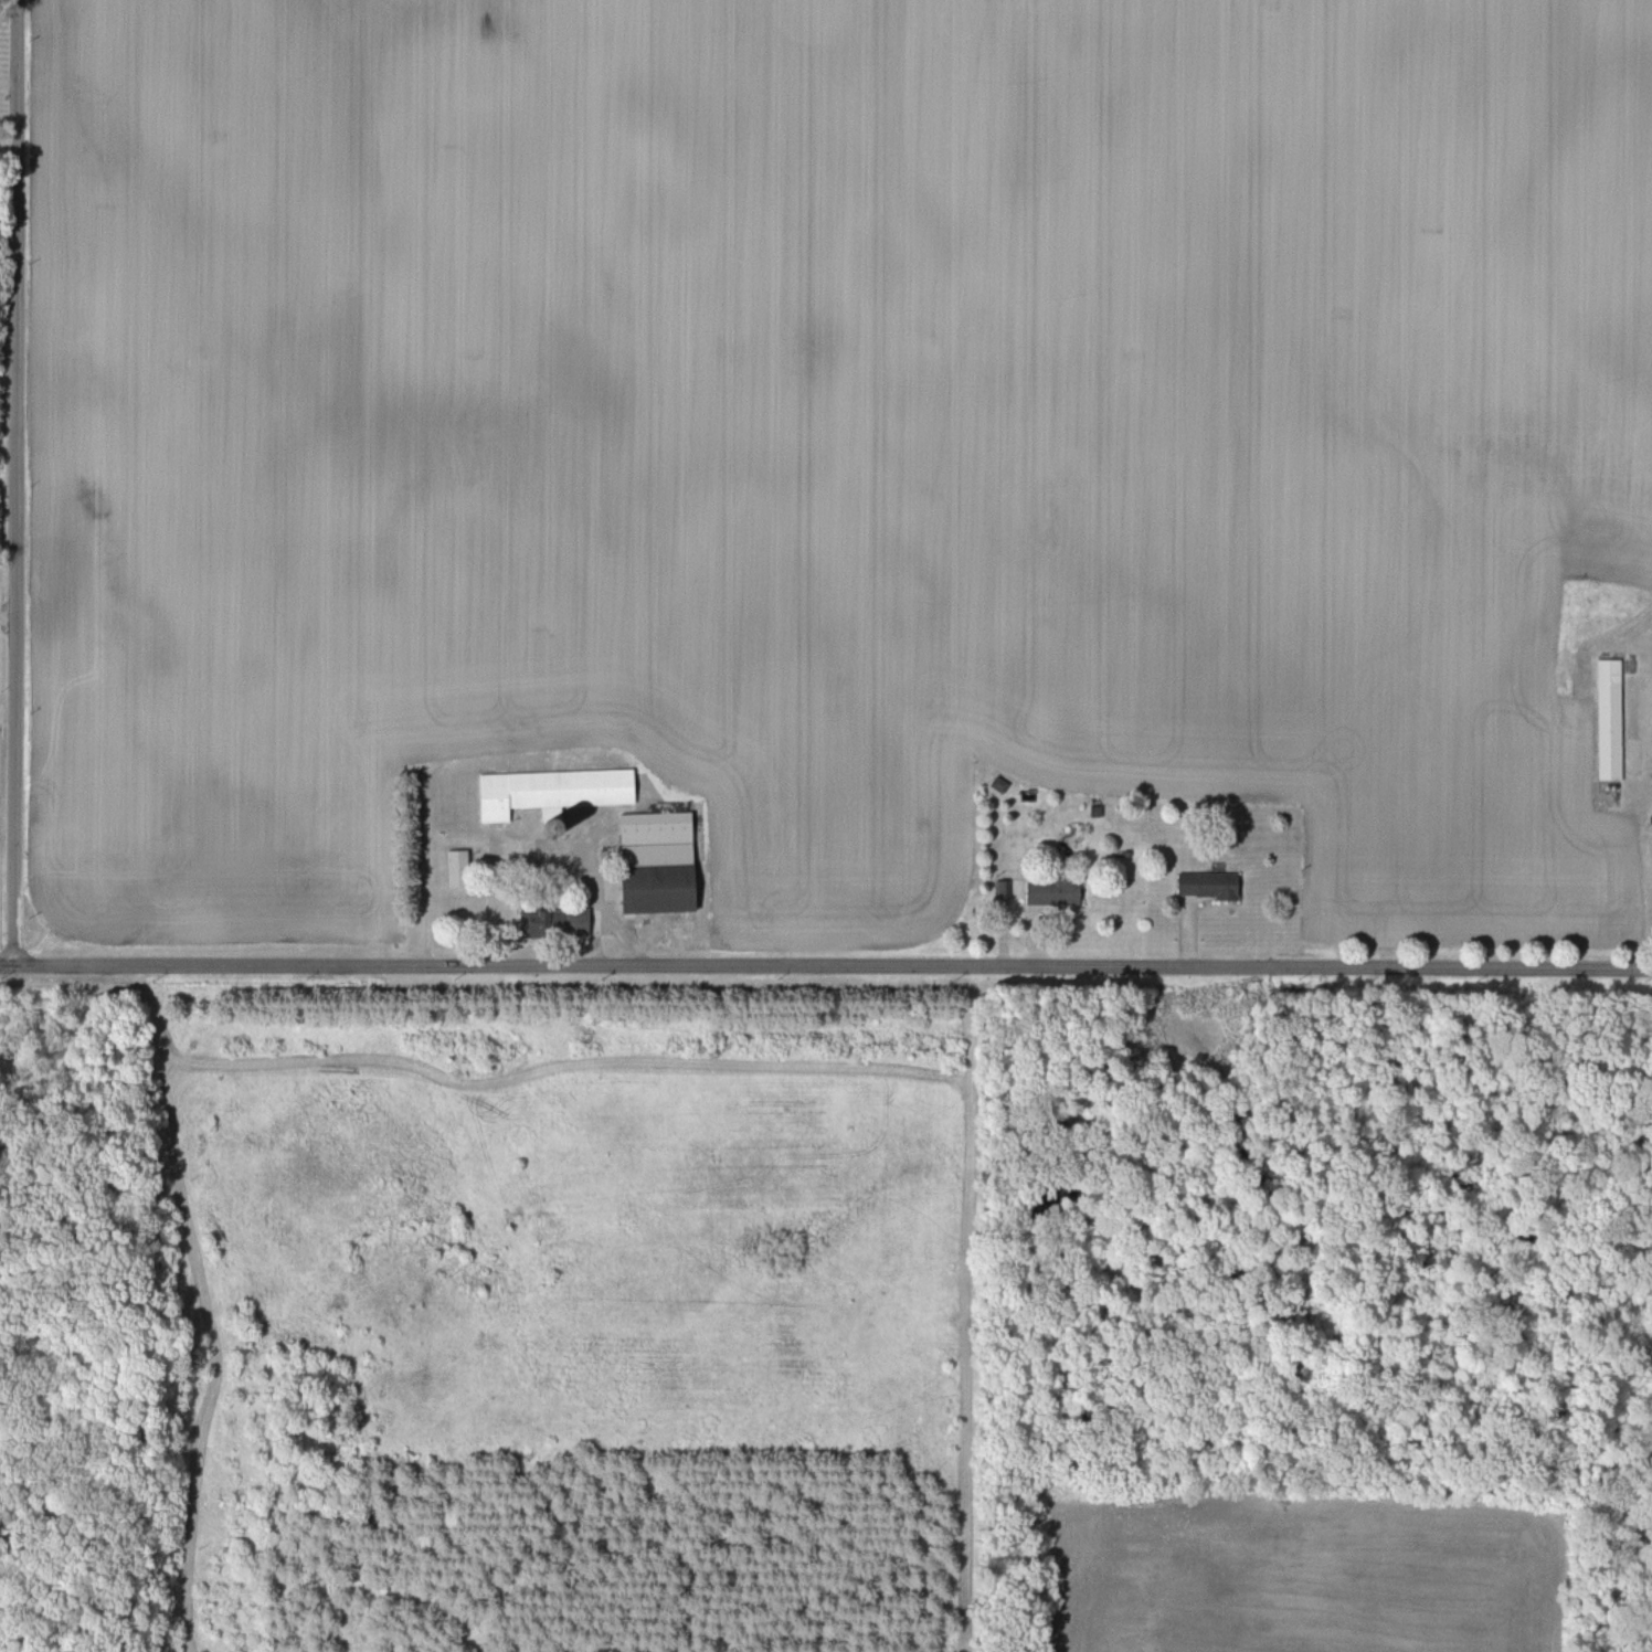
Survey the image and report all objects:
road: (17, 483)
building: (1610, 719)
building: (555, 790)
building: (661, 859)
building: (459, 868)
building: (1212, 885)
building: (1055, 891)
building: (559, 922)
road: (826, 966)

